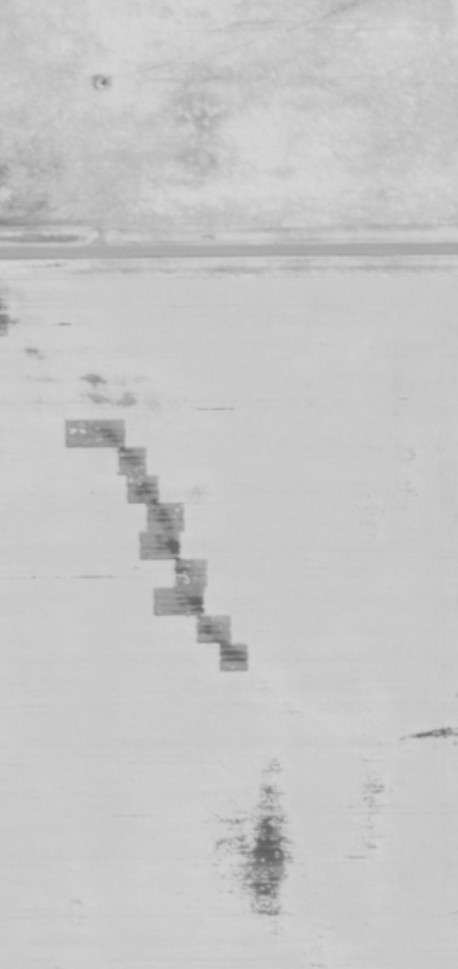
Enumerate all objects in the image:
road: (229, 254)

